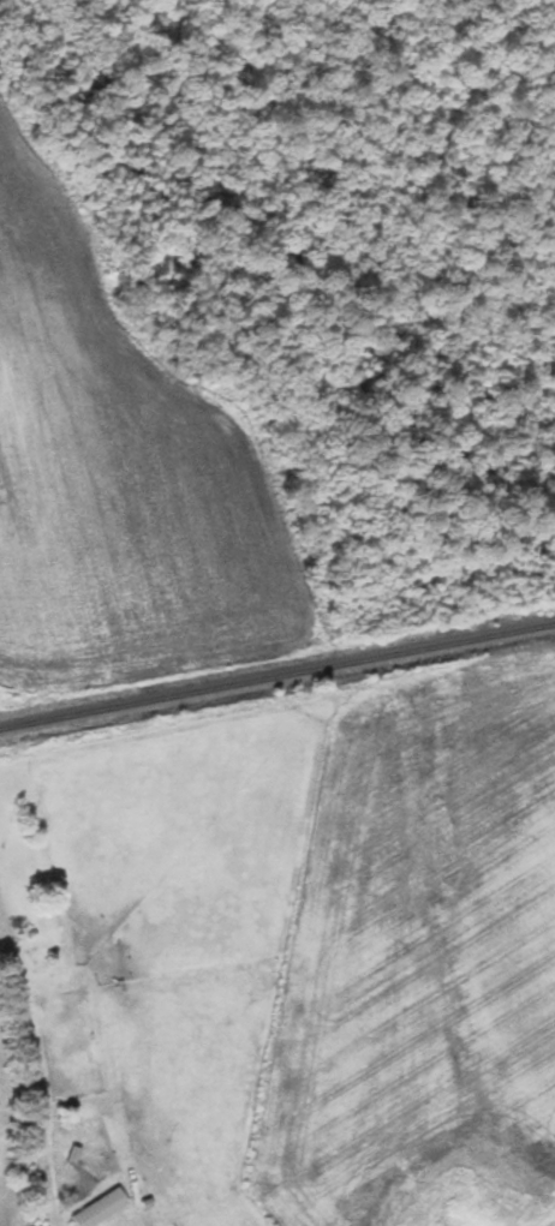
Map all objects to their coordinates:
railway: (277, 676)
road: (25, 1082)
building: (102, 1208)

